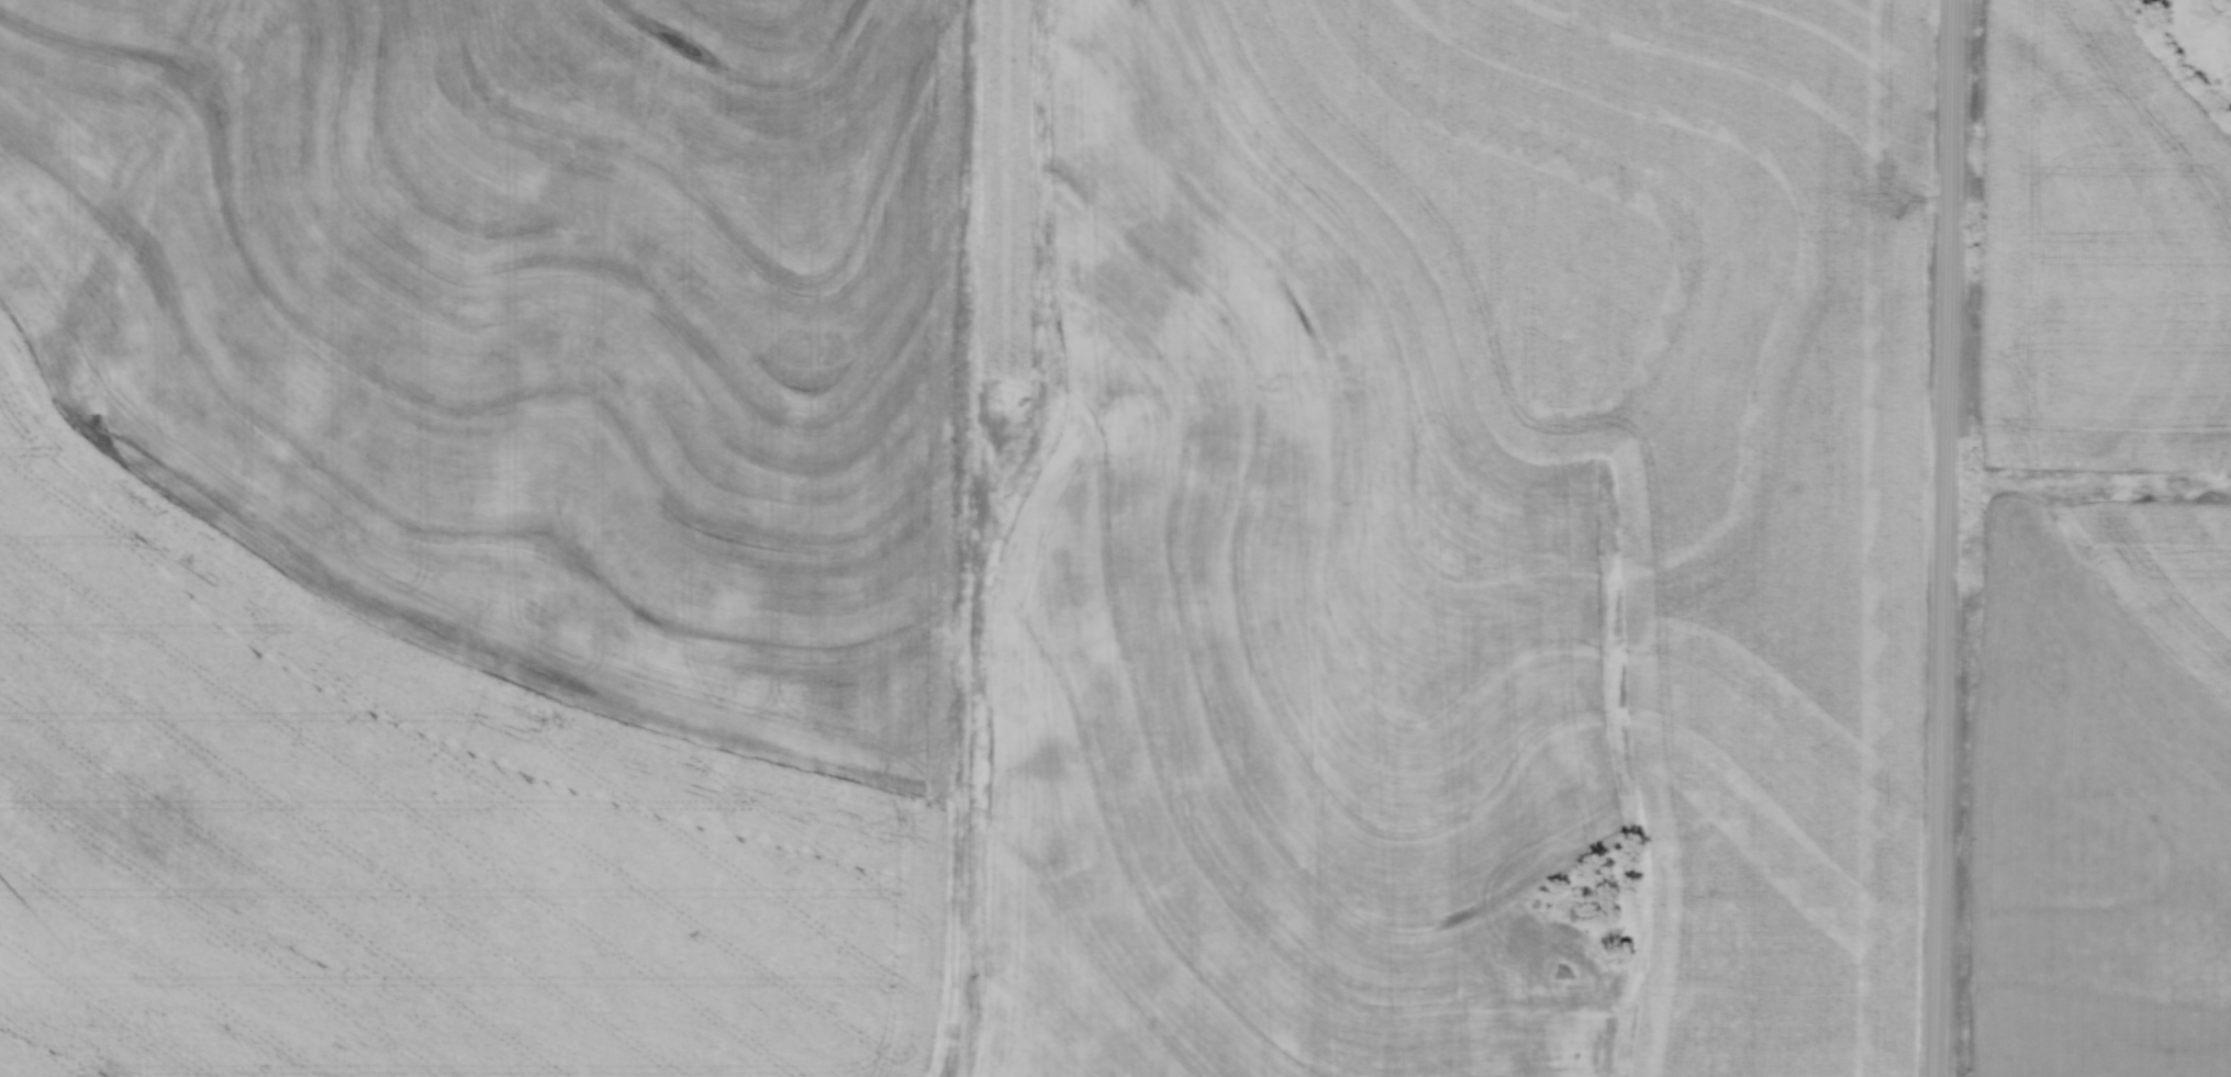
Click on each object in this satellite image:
road: (1945, 538)

